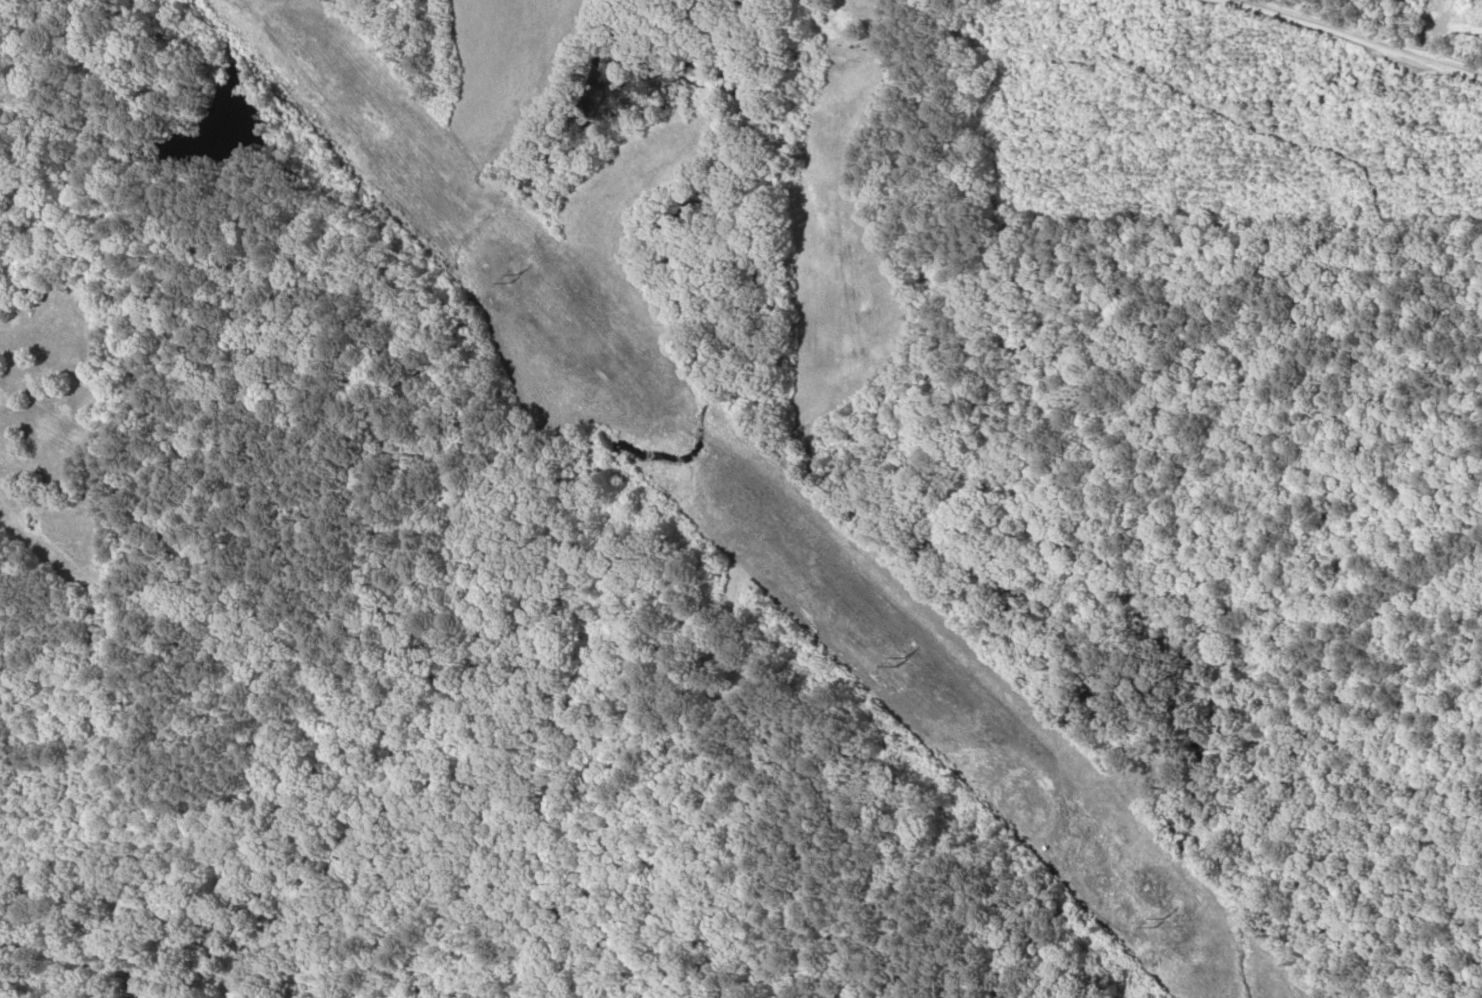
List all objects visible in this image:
road: (1350, 39)

